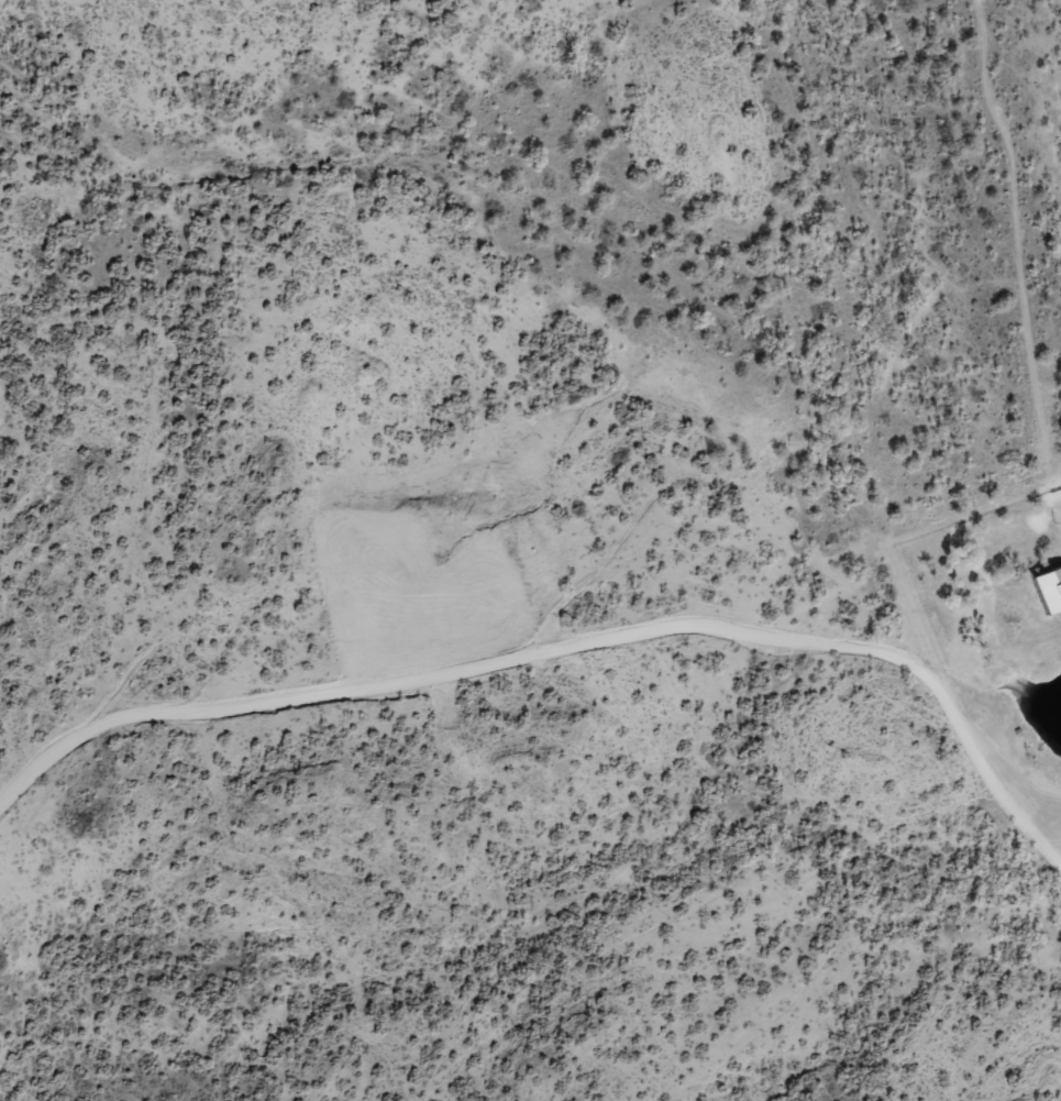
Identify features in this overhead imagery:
building: (1047, 588)

